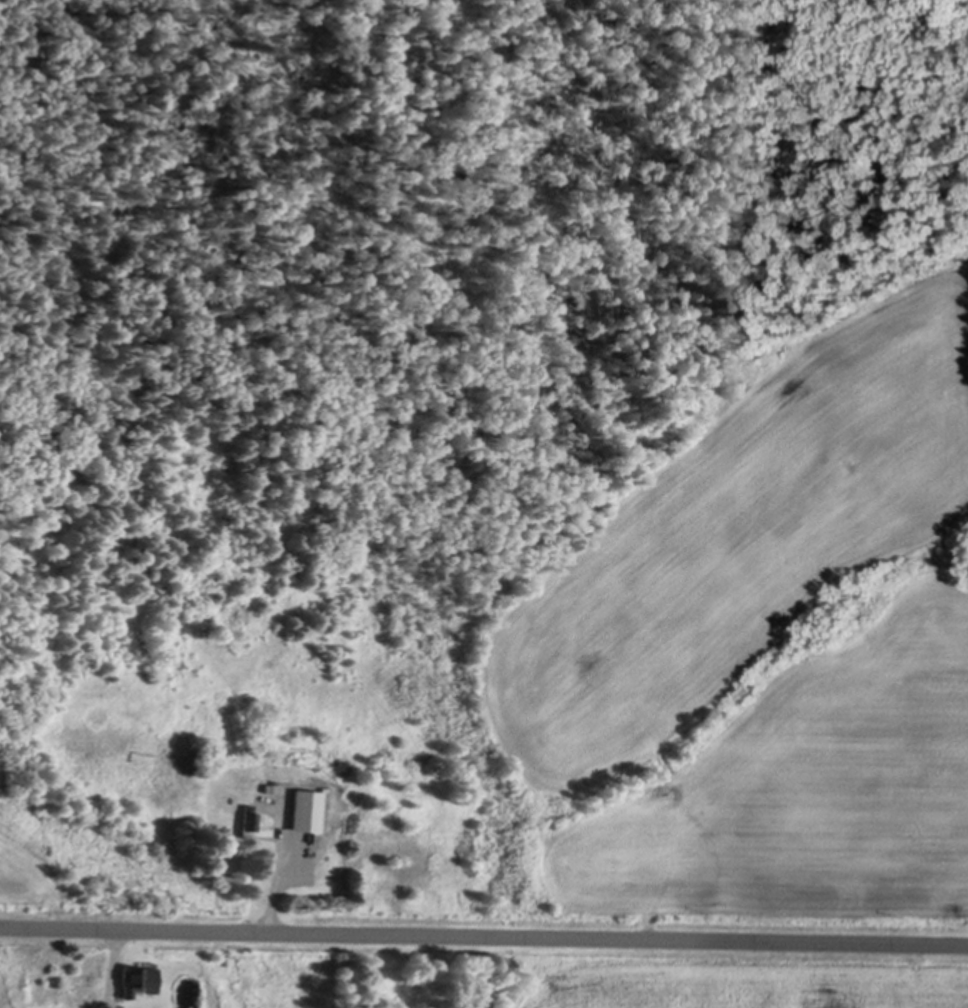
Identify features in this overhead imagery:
building: (188, 760)
building: (245, 817)
building: (293, 819)
road: (484, 927)
building: (135, 979)

